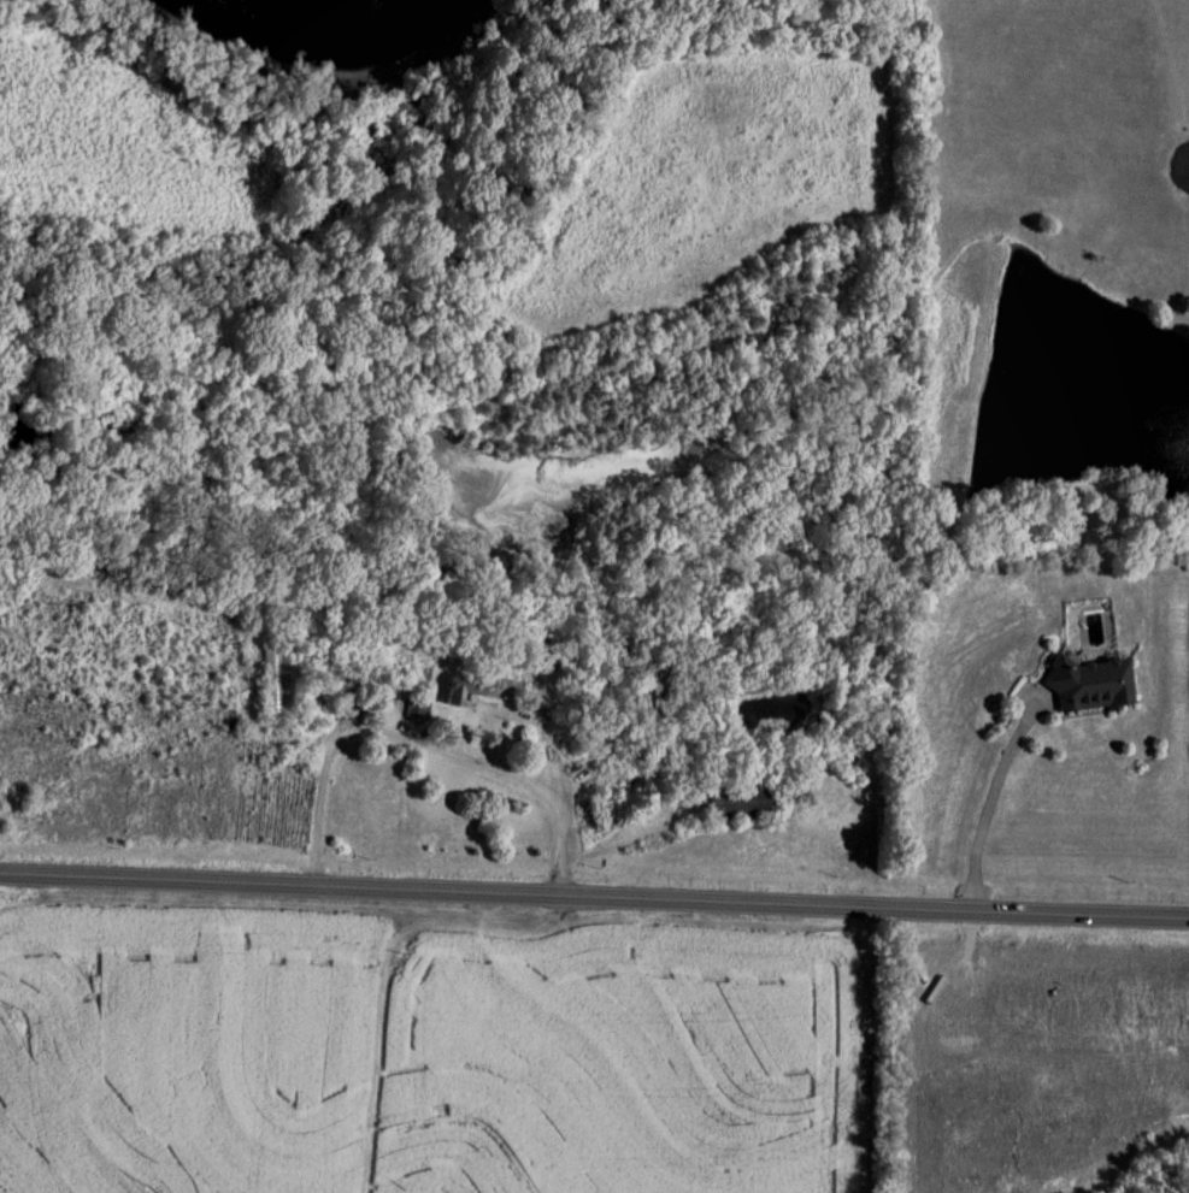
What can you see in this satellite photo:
building: (283, 684)
building: (1095, 685)
building: (661, 690)
building: (472, 691)
road: (420, 744)
road: (993, 799)
building: (742, 804)
road: (594, 890)
road: (385, 964)
road: (869, 1046)

